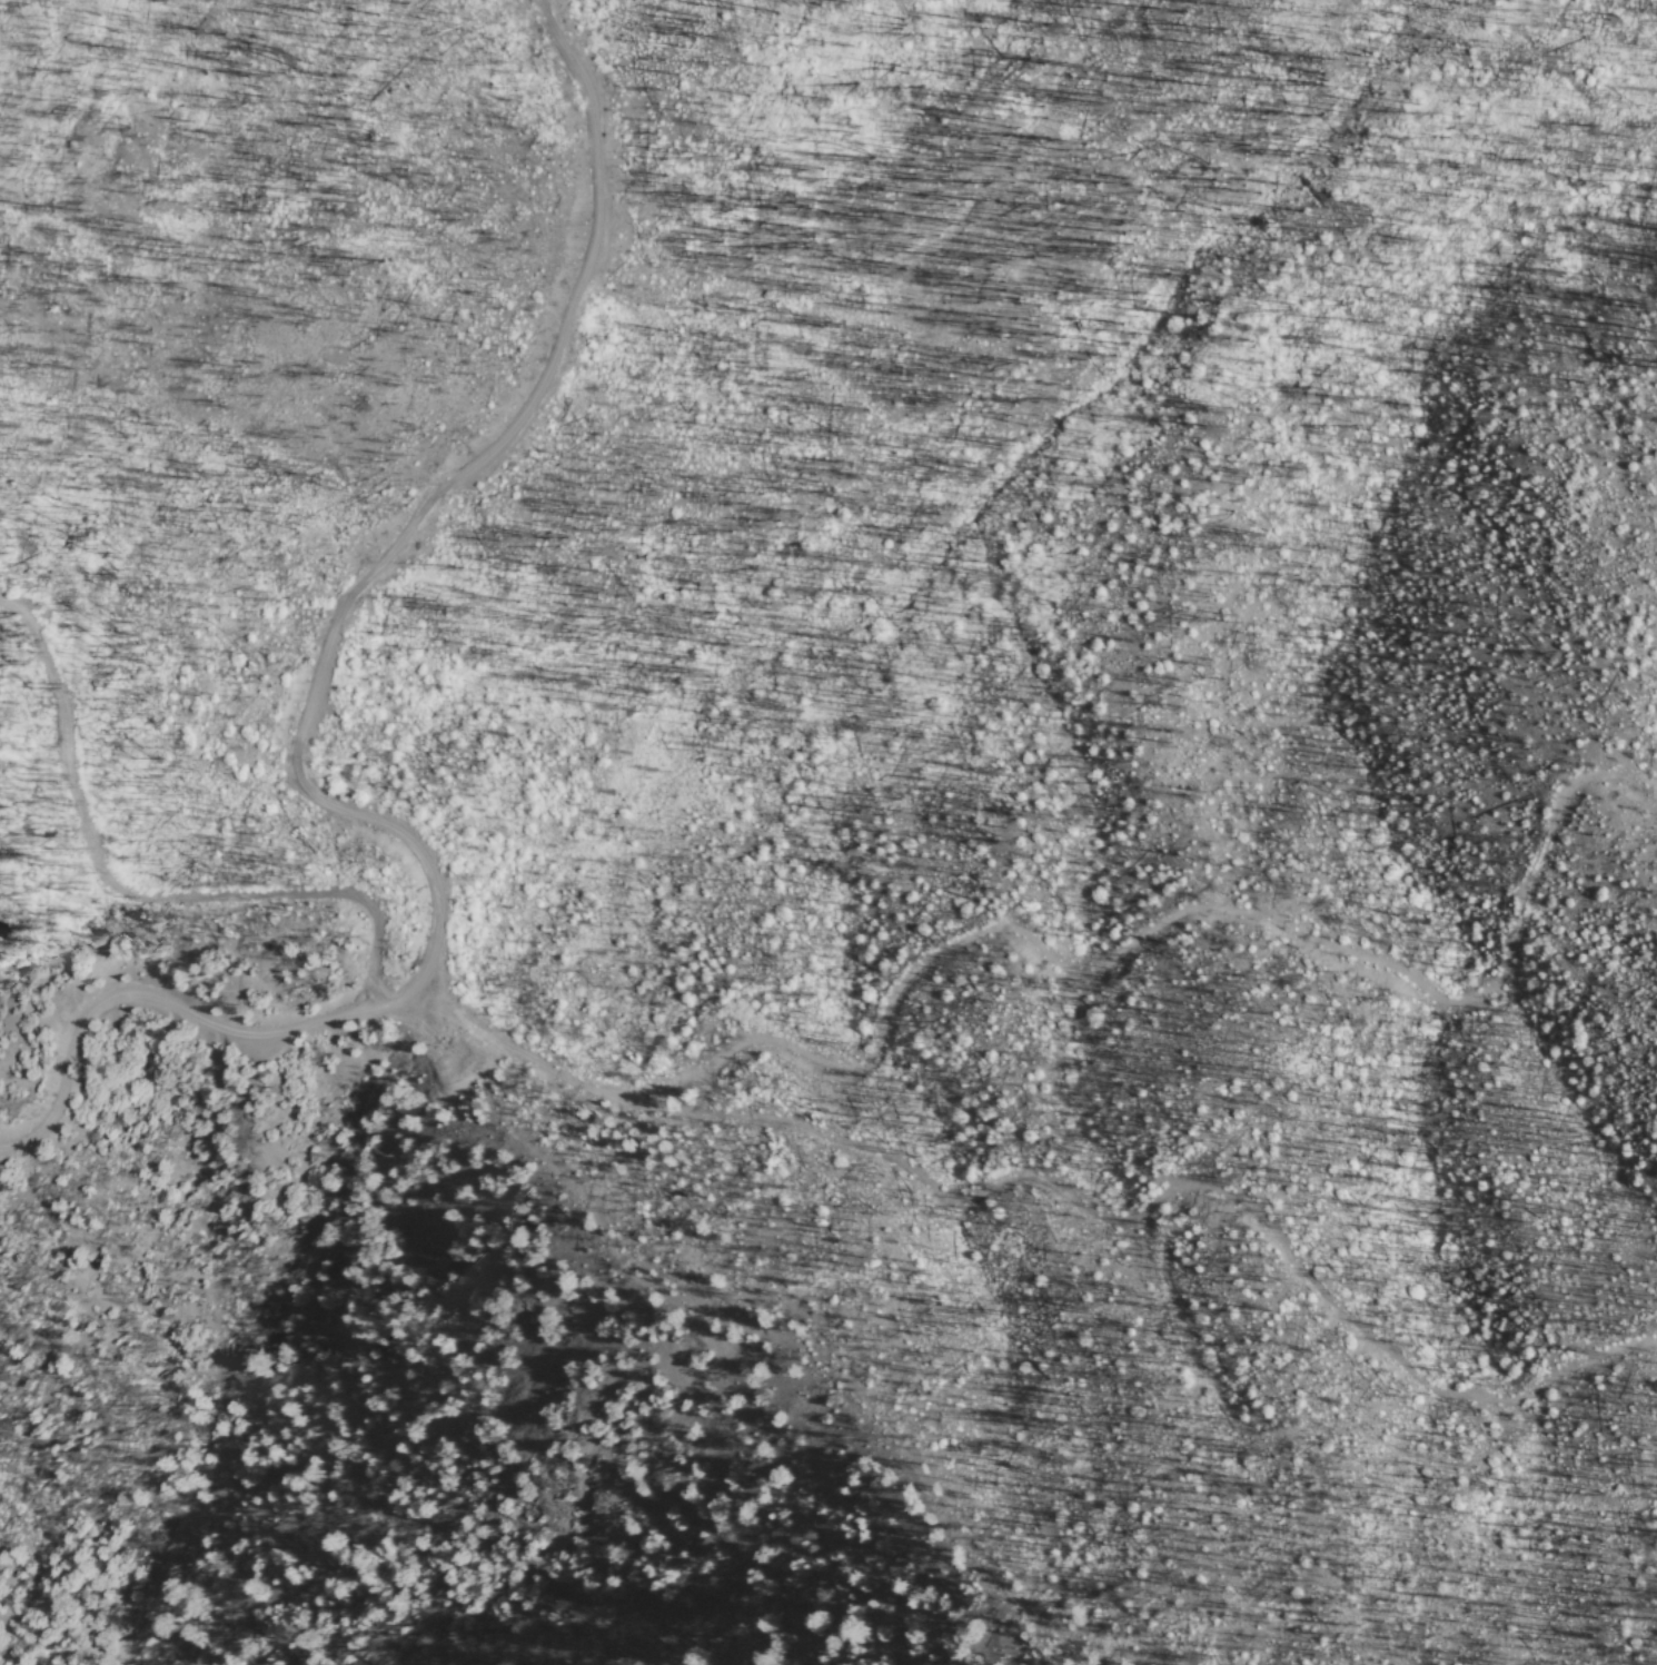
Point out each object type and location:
road: (305, 749)
road: (133, 900)

